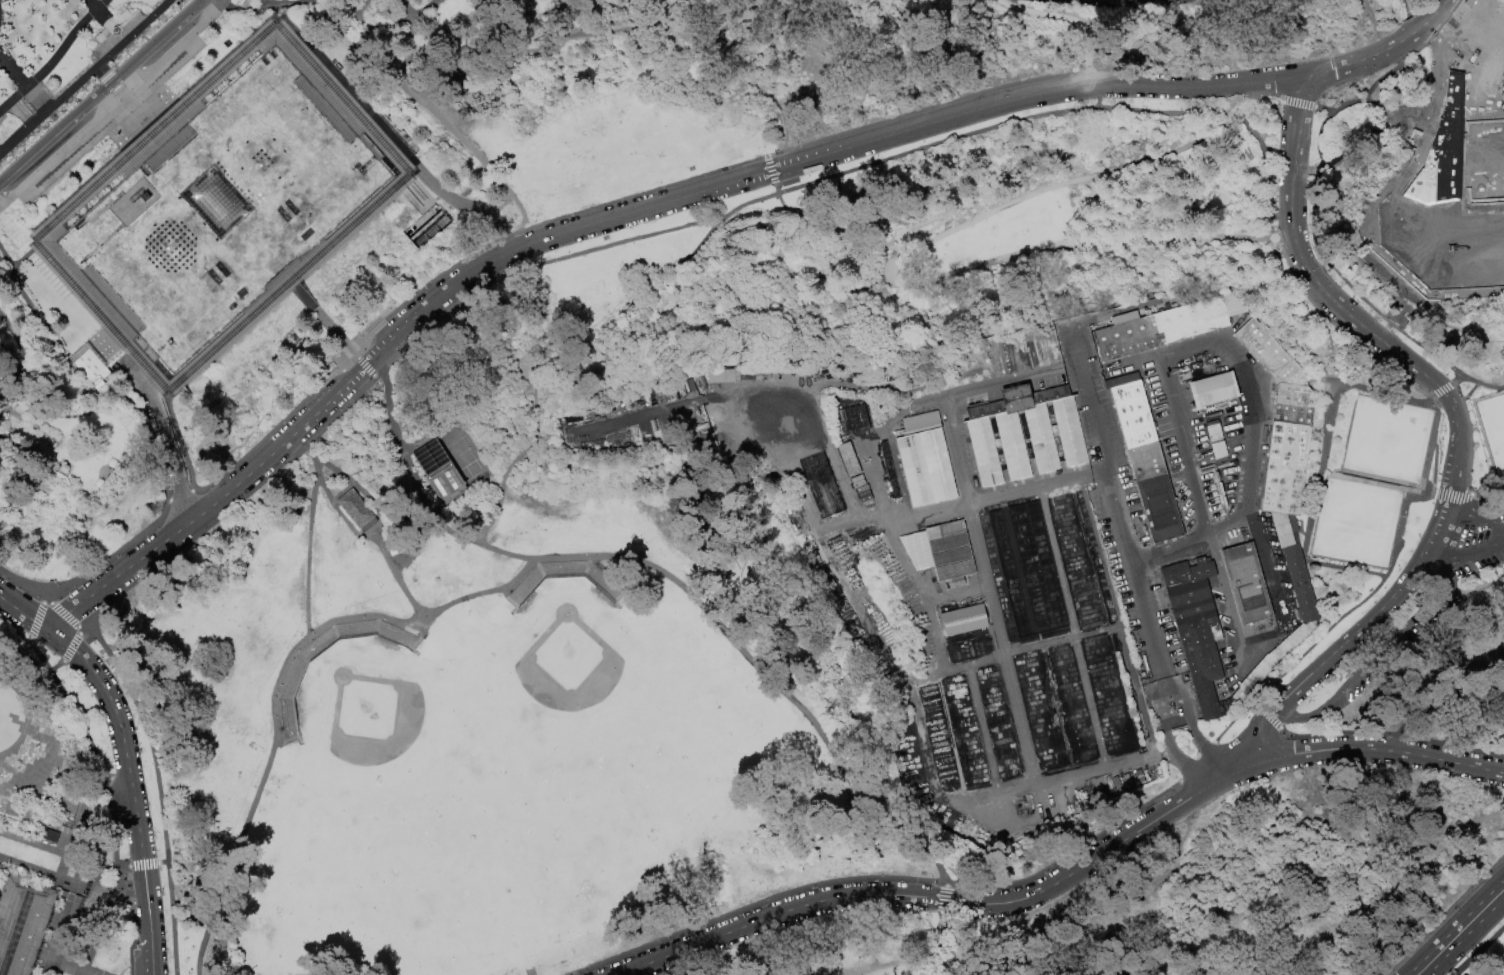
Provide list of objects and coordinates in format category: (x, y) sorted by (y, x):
road: (265, 3)
road: (266, 5)
road: (421, 7)
road: (1439, 8)
road: (95, 9)
road: (1403, 9)
road: (611, 16)
road: (1063, 16)
road: (132, 23)
road: (1425, 23)
road: (1456, 23)
road: (1372, 26)
fountain: (115, 31)
road: (1412, 33)
road: (551, 42)
road: (106, 46)
road: (406, 55)
road: (110, 56)
road: (54, 57)
park: (63, 57)
road: (1354, 63)
road: (1434, 63)
road: (142, 65)
road: (740, 66)
road: (13, 72)
park: (1502, 73)
road: (1380, 78)
park: (1483, 78)
road: (107, 81)
road: (1426, 81)
road: (1093, 88)
road: (101, 91)
road: (122, 96)
road: (1266, 96)
road: (110, 101)
road: (1296, 103)
road: (1243, 105)
road: (5, 107)
parking lot: (104, 107)
road: (19, 109)
road: (1322, 111)
road: (1431, 111)
road: (1384, 115)
road: (142, 117)
road: (114, 124)
road: (23, 131)
road: (975, 131)
park: (1503, 135)
road: (163, 139)
road: (8, 142)
road: (1341, 149)
road: (1126, 150)
building: (1441, 151)
park: (1488, 157)
road: (124, 161)
road: (483, 161)
road: (1265, 171)
road: (1403, 171)
road: (770, 175)
road: (1334, 175)
road: (1046, 188)
road: (2, 190)
road: (160, 197)
road: (779, 202)
road: (1280, 205)
building: (1396, 205)
road: (600, 206)
building: (222, 207)
road: (473, 209)
road: (100, 214)
road: (612, 217)
road: (930, 220)
road: (1319, 234)
park: (1500, 237)
park: (1478, 240)
park: (1449, 242)
road: (103, 244)
road: (1052, 246)
road: (518, 260)
road: (1365, 264)
road: (890, 265)
road: (770, 269)
road: (1335, 271)
road: (664, 280)
road: (491, 283)
road: (1419, 287)
fountain: (656, 291)
road: (777, 295)
road: (23, 297)
road: (657, 303)
road: (690, 312)
road: (322, 319)
building: (1168, 327)
road: (1340, 328)
road: (676, 330)
road: (683, 331)
road: (965, 331)
road: (440, 334)
road: (522, 339)
road: (1220, 341)
road: (583, 343)
road: (16, 344)
building: (1271, 355)
road: (461, 357)
road: (547, 360)
road: (37, 362)
road: (363, 365)
building: (88, 366)
road: (343, 374)
road: (1482, 383)
road: (574, 384)
road: (821, 386)
building: (1212, 389)
road: (487, 390)
road: (1440, 391)
road: (12, 392)
road: (1469, 392)
road: (131, 402)
road: (272, 402)
building: (1295, 405)
building: (1133, 410)
road: (275, 415)
building: (850, 419)
road: (29, 424)
road: (39, 426)
park: (1492, 429)
road: (1457, 430)
road: (36, 431)
building: (1214, 431)
road: (1469, 432)
road: (429, 433)
road: (178, 435)
road: (166, 439)
road: (173, 440)
road: (298, 441)
building: (1041, 441)
park: (1384, 443)
road: (1430, 447)
road: (1181, 449)
road: (1255, 449)
road: (311, 453)
building: (1221, 453)
building: (848, 459)
building: (924, 460)
building: (1147, 461)
road: (1317, 463)
road: (1432, 467)
building: (1287, 469)
building: (438, 471)
park: (438, 471)
building: (888, 471)
road: (189, 477)
road: (504, 482)
building: (821, 485)
road: (189, 487)
park: (752, 487)
road: (1488, 488)
road: (342, 493)
road: (1426, 494)
road: (1451, 494)
road: (1471, 494)
road: (180, 496)
road: (963, 505)
building: (1160, 508)
building: (354, 509)
road: (402, 510)
road: (1118, 511)
road: (340, 514)
road: (1474, 517)
park: (1355, 523)
road: (890, 525)
road: (197, 527)
road: (405, 528)
building: (1283, 531)
building: (400, 541)
road: (421, 541)
road: (1193, 542)
parking lot: (1478, 545)
road: (1212, 548)
building: (949, 552)
road: (1101, 555)
road: (1464, 555)
road: (114, 558)
building: (916, 559)
building: (1188, 572)
road: (1478, 576)
road: (674, 581)
building: (1248, 584)
road: (22, 585)
building: (1301, 585)
road: (988, 587)
road: (1276, 592)
road: (480, 593)
building: (1189, 593)
road: (45, 599)
road: (1231, 612)
road: (62, 614)
road: (26, 616)
road: (36, 620)
road: (306, 620)
building: (964, 620)
road: (1334, 625)
road: (82, 629)
road: (1073, 629)
road: (29, 639)
building: (1294, 641)
road: (70, 648)
road: (1012, 650)
building: (1201, 652)
road: (110, 657)
road: (1366, 665)
road: (56, 667)
building: (1258, 675)
road: (1234, 678)
road: (1139, 693)
building: (1240, 697)
road: (1437, 697)
road: (912, 701)
road: (25, 716)
road: (1267, 716)
road: (1188, 726)
road: (986, 732)
road: (1391, 734)
road: (1164, 738)
road: (90, 747)
road: (1365, 749)
flagpole: (1190, 752)
road: (1198, 763)
road: (40, 767)
road: (1212, 767)
road: (5, 771)
road: (128, 775)
road: (116, 781)
park: (506, 789)
road: (252, 801)
building: (48, 835)
road: (33, 844)
road: (65, 855)
road: (83, 859)
road: (1094, 860)
road: (162, 862)
road: (141, 864)
road: (122, 867)
road: (100, 868)
road: (47, 872)
road: (883, 879)
road: (110, 892)
road: (945, 892)
road: (1336, 892)
road: (944, 906)
road: (777, 914)
road: (1444, 915)
building: (21, 923)
road: (1467, 925)
road: (132, 936)
road: (939, 944)
road: (1478, 951)
road: (48, 954)
road: (40, 957)
road: (151, 957)
road: (923, 961)
traffic signals: (1430, 962)
road: (1420, 968)
road: (1426, 968)
road: (86, 973)

